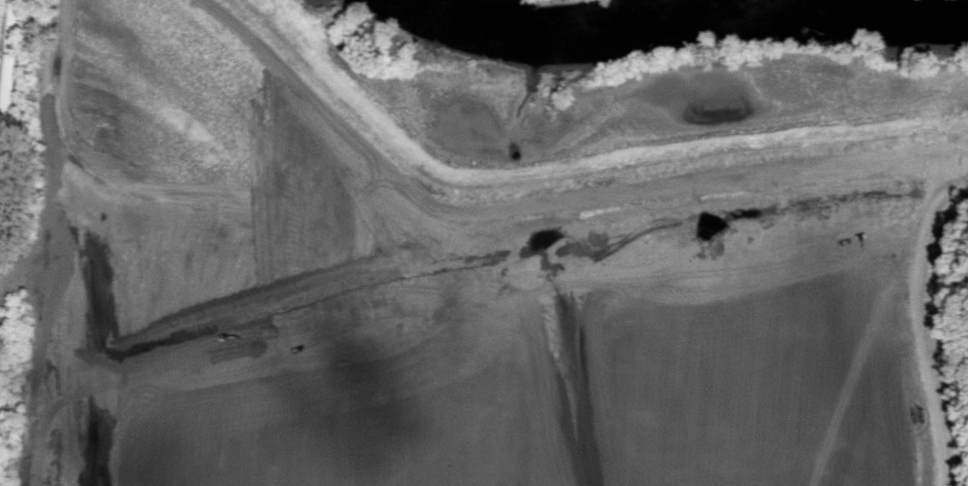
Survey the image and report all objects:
road: (6, 78)
road: (438, 207)
road: (917, 320)

